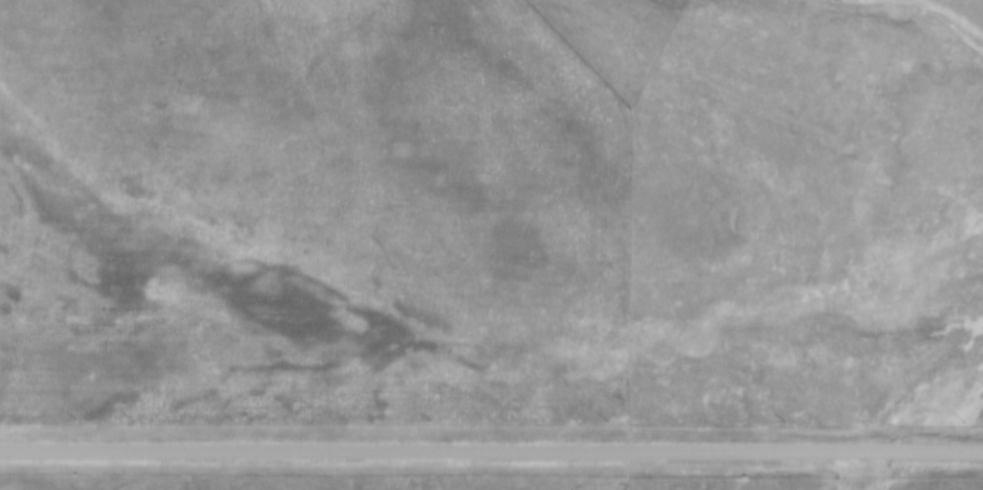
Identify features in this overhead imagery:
road: (491, 451)

